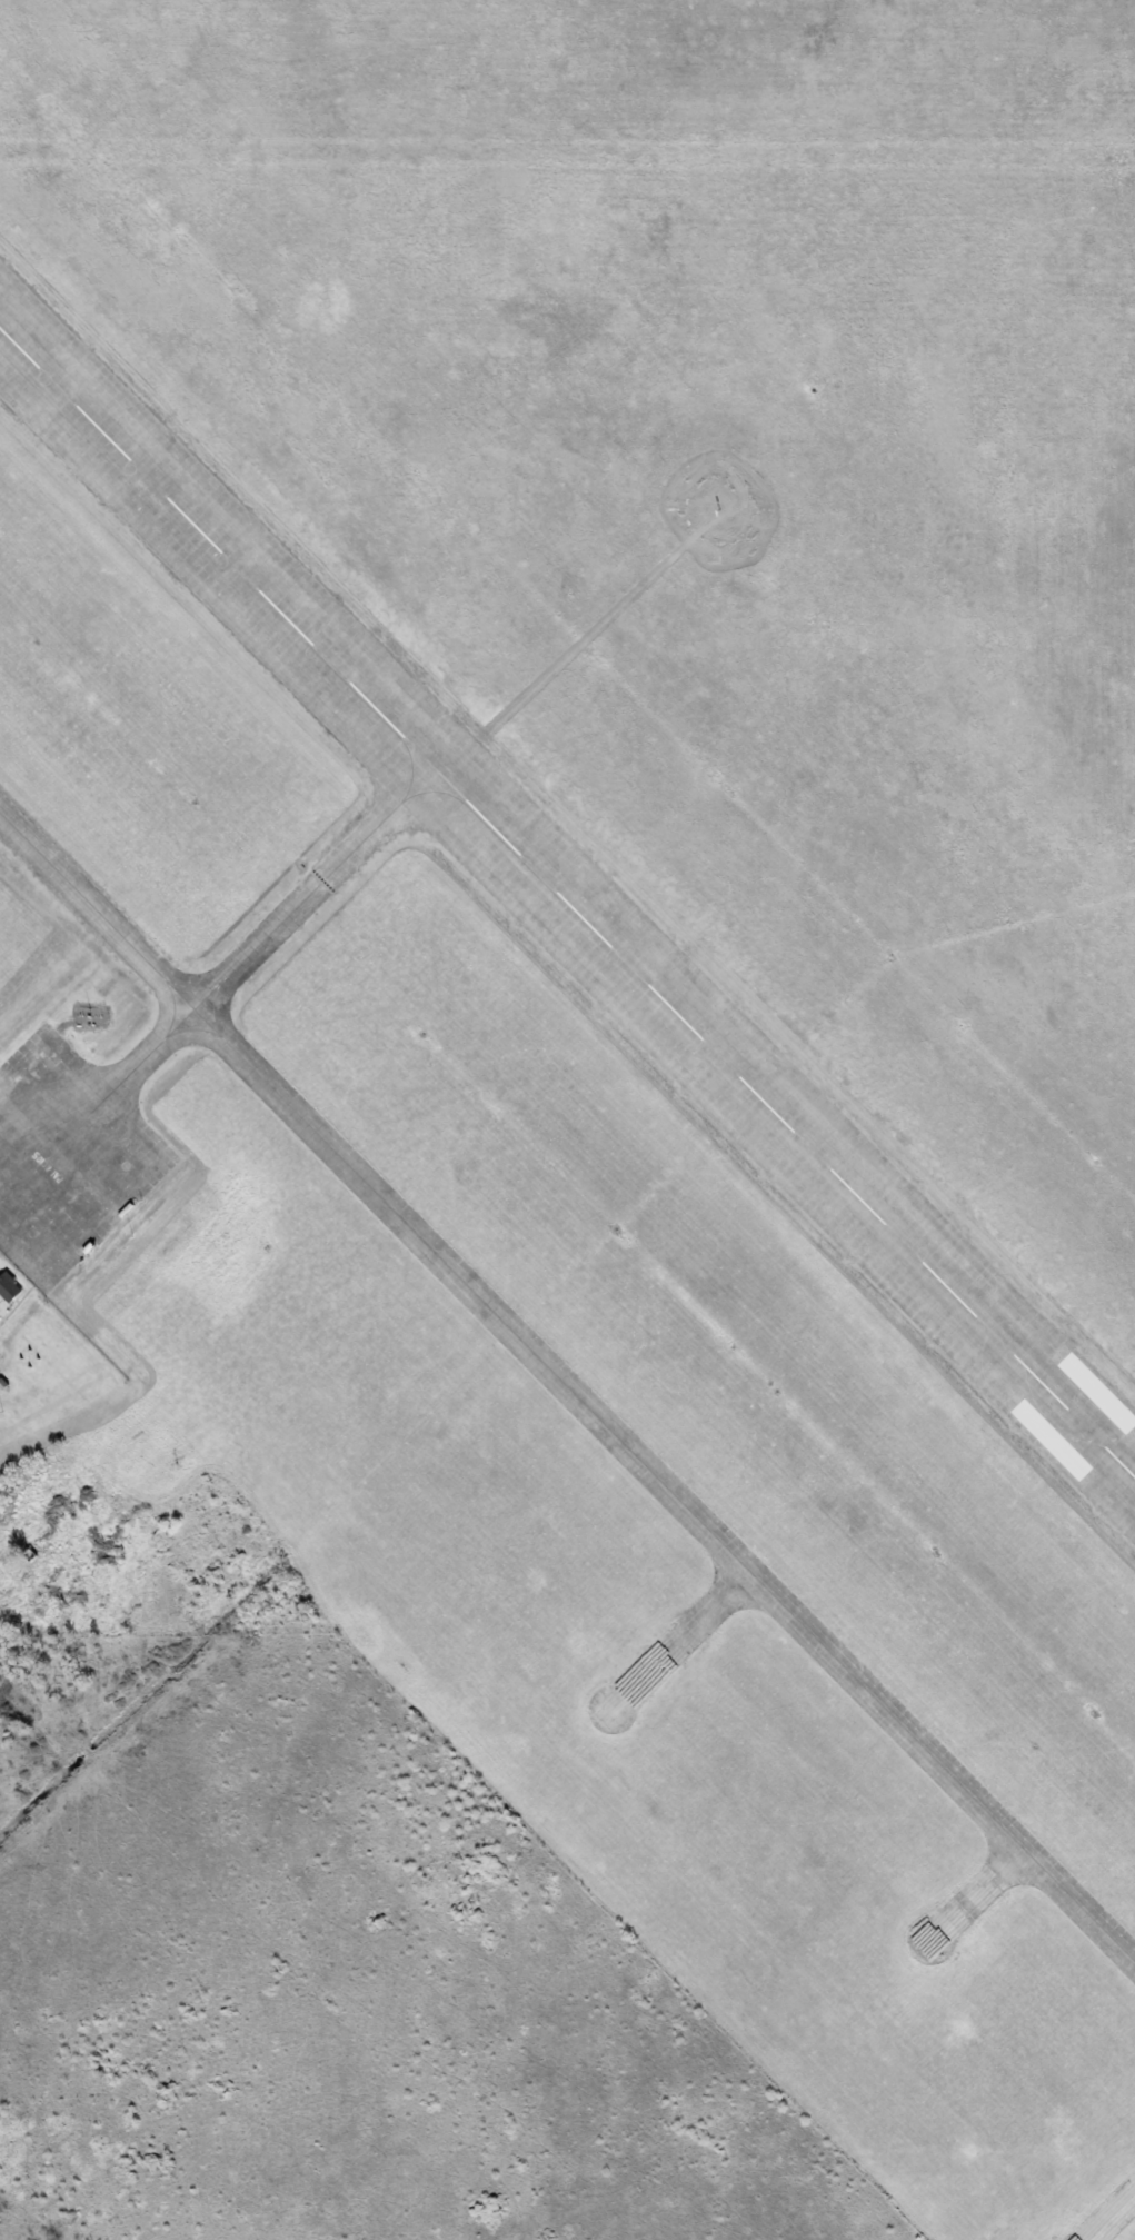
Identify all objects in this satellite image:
airport runway: (567, 905)
airport taxiway: (237, 963)
airport: (608, 966)
airport apron: (67, 1161)
building: (10, 1288)
airport taxiway: (567, 1388)

